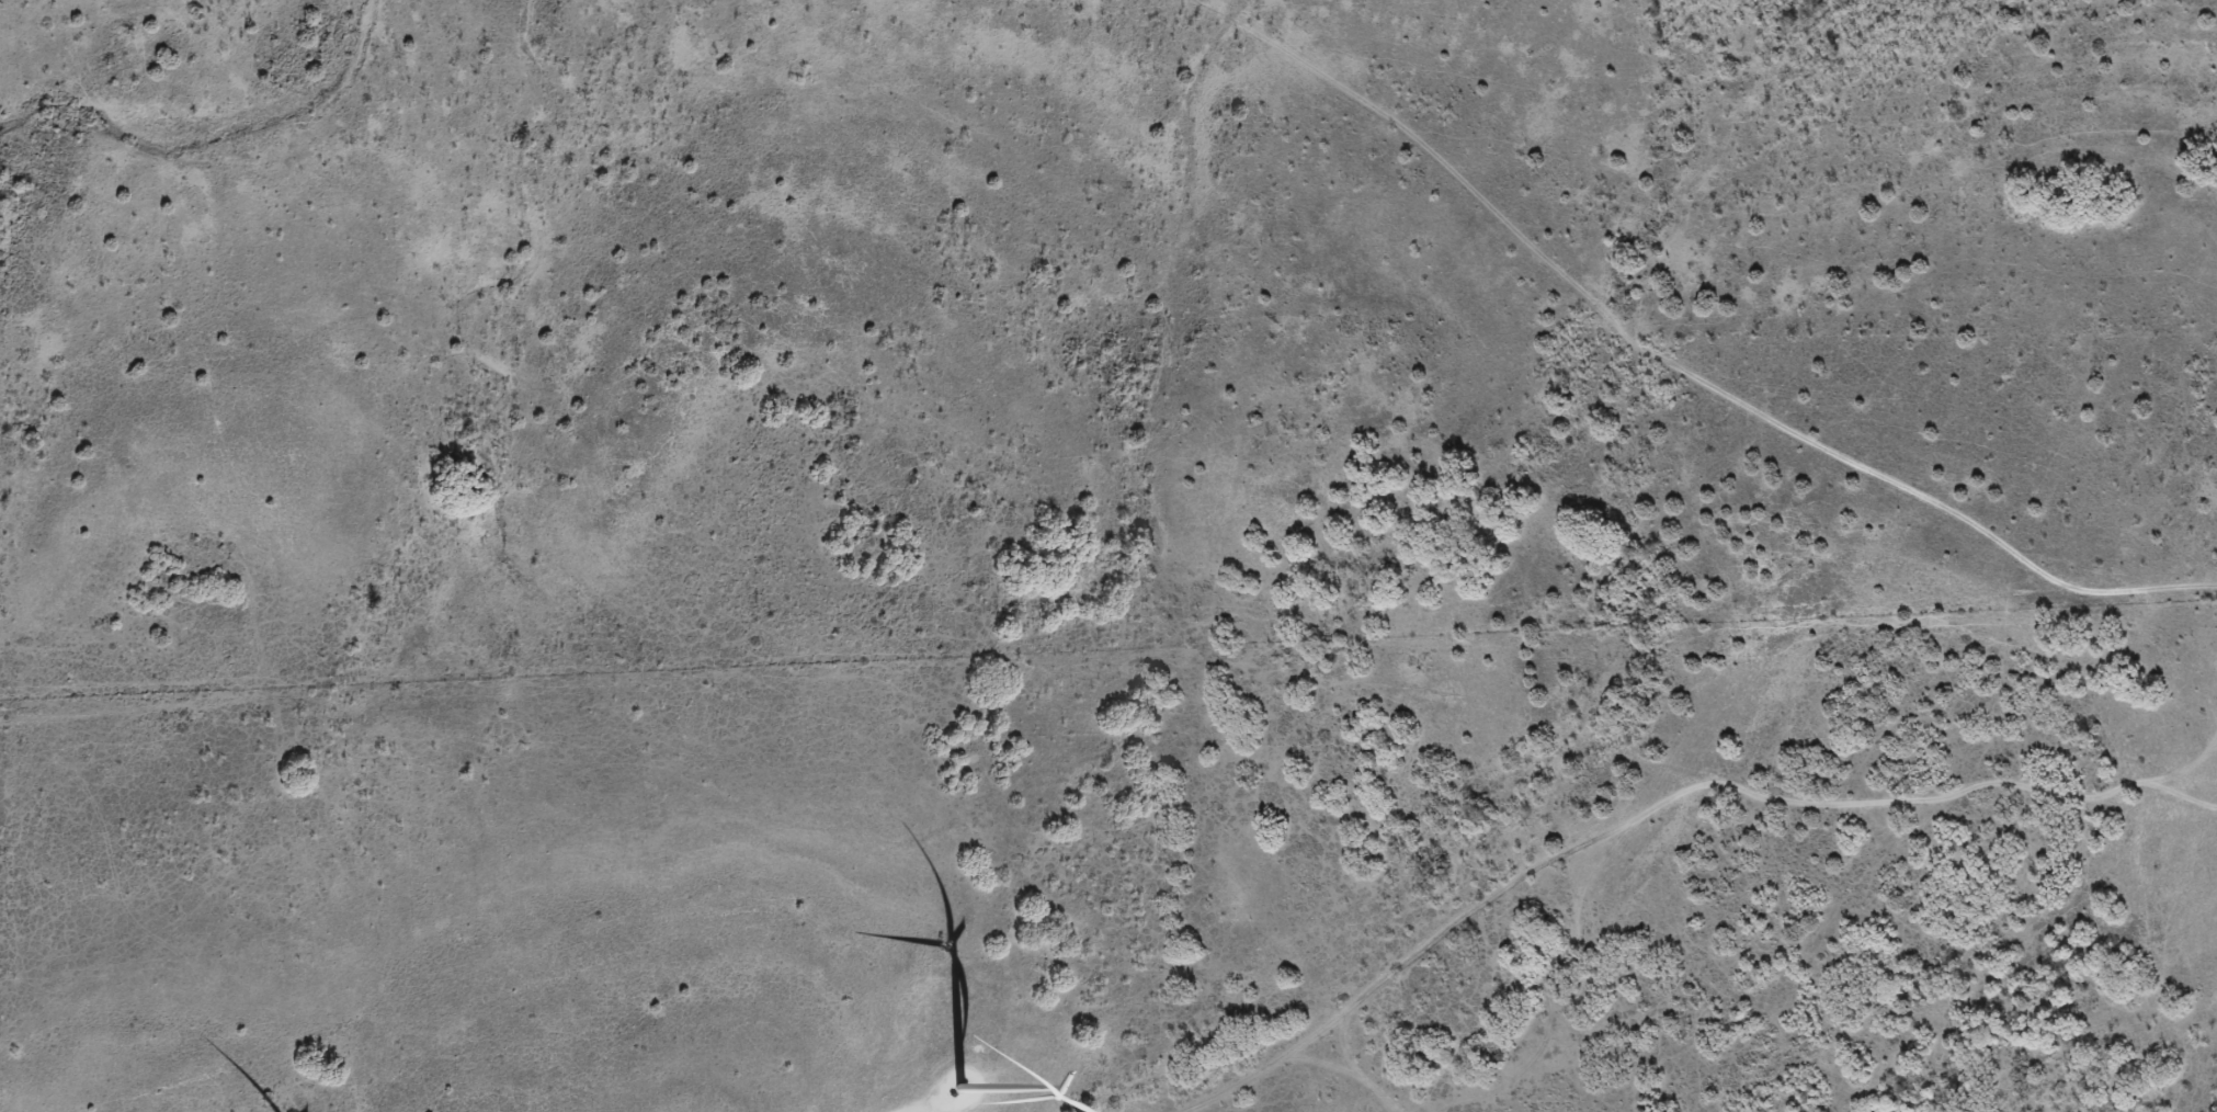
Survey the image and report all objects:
wind turbine: (959, 1087)
road: (911, 1107)

